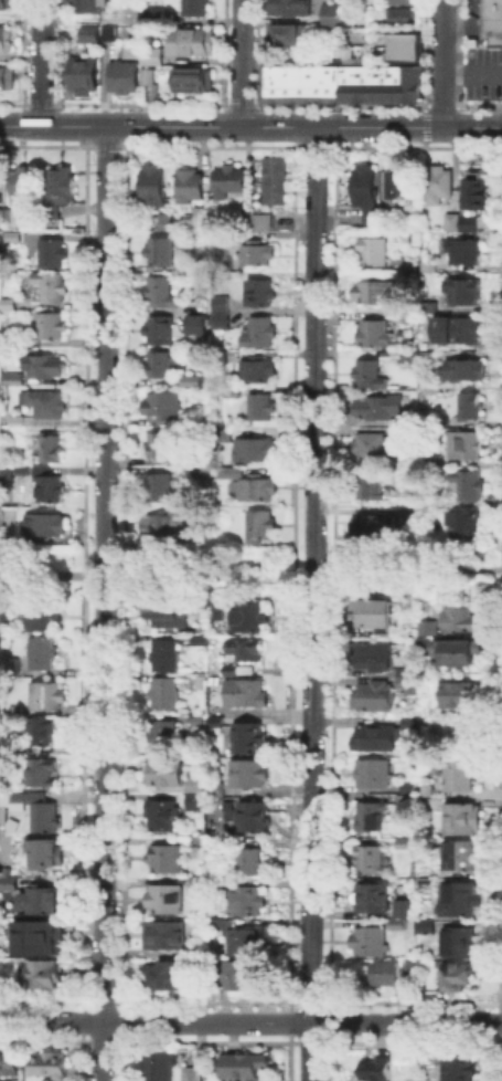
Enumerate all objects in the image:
building: (398, 1)
building: (7, 3)
building: (86, 6)
building: (193, 7)
building: (286, 7)
building: (491, 8)
building: (151, 12)
building: (126, 13)
building: (329, 14)
building: (398, 17)
building: (491, 29)
building: (87, 32)
building: (105, 33)
building: (282, 33)
building: (4, 38)
building: (189, 40)
building: (403, 46)
building: (149, 53)
road: (39, 62)
road: (239, 62)
road: (441, 63)
parking lot: (483, 72)
building: (81, 73)
road: (471, 73)
building: (119, 74)
building: (145, 75)
building: (6, 77)
building: (191, 80)
building: (307, 82)
building: (409, 82)
building: (271, 83)
building: (293, 83)
building: (320, 83)
building: (332, 83)
building: (344, 83)
building: (359, 83)
building: (383, 83)
road: (250, 126)
building: (25, 182)
building: (228, 182)
building: (275, 183)
building: (154, 187)
building: (402, 187)
building: (438, 187)
building: (191, 188)
building: (60, 191)
building: (474, 191)
building: (366, 193)
building: (4, 214)
building: (197, 217)
building: (448, 220)
building: (163, 221)
building: (246, 222)
building: (260, 222)
building: (461, 225)
building: (12, 238)
building: (160, 253)
building: (375, 253)
building: (466, 254)
building: (54, 255)
building: (256, 255)
building: (409, 266)
building: (429, 267)
building: (191, 269)
building: (52, 288)
building: (374, 293)
building: (161, 294)
building: (464, 294)
building: (260, 296)
building: (7, 306)
building: (431, 306)
building: (222, 313)
building: (196, 326)
building: (51, 328)
building: (463, 328)
building: (159, 332)
building: (376, 334)
building: (259, 335)
building: (218, 354)
building: (427, 357)
building: (162, 367)
building: (46, 368)
building: (258, 372)
building: (462, 374)
building: (371, 376)
building: (11, 379)
building: (192, 381)
building: (234, 391)
building: (46, 405)
building: (163, 406)
building: (263, 409)
building: (378, 409)
building: (472, 409)
building: (0, 419)
building: (17, 420)
building: (223, 432)
building: (159, 447)
building: (373, 448)
building: (466, 448)
building: (51, 450)
building: (256, 451)
building: (200, 454)
building: (439, 455)
building: (21, 469)
building: (195, 473)
building: (6, 479)
building: (47, 484)
building: (371, 485)
building: (249, 486)
building: (467, 486)
building: (159, 489)
building: (406, 514)
building: (464, 525)
building: (46, 526)
building: (164, 527)
building: (260, 528)
building: (373, 528)
building: (203, 533)
park: (39, 569)
road: (117, 570)
park: (206, 570)
road: (273, 570)
road: (406, 570)
park: (416, 570)
road: (102, 602)
road: (310, 602)
building: (6, 612)
building: (170, 613)
building: (374, 617)
building: (250, 618)
building: (43, 619)
building: (459, 619)
building: (214, 621)
building: (424, 627)
building: (434, 628)
building: (197, 638)
building: (245, 651)
building: (457, 653)
building: (42, 655)
building: (167, 657)
building: (373, 658)
building: (9, 667)
building: (231, 671)
building: (409, 679)
building: (202, 682)
building: (246, 694)
building: (167, 695)
building: (459, 695)
building: (45, 696)
building: (373, 697)
building: (17, 709)
building: (217, 722)
building: (42, 732)
building: (164, 736)
building: (248, 739)
building: (377, 739)
building: (461, 773)
building: (42, 774)
building: (167, 774)
building: (249, 774)
building: (374, 774)
building: (200, 794)
building: (406, 799)
building: (39, 811)
building: (164, 817)
building: (256, 818)
building: (372, 818)
building: (464, 819)
building: (195, 846)
building: (406, 846)
building: (45, 853)
building: (463, 858)
building: (169, 860)
building: (372, 860)
building: (253, 864)
building: (7, 881)
building: (20, 884)
building: (199, 884)
building: (168, 899)
building: (375, 900)
building: (460, 900)
building: (46, 901)
building: (249, 902)
building: (406, 913)
building: (399, 923)
building: (425, 927)
building: (167, 936)
building: (35, 940)
building: (249, 942)
building: (371, 943)
building: (462, 944)
building: (246, 975)
building: (389, 975)
building: (44, 976)
building: (460, 976)
building: (163, 978)
road: (250, 1021)
building: (8, 1066)
building: (376, 1066)
building: (52, 1067)
building: (246, 1067)
building: (456, 1067)
building: (160, 1068)
building: (194, 1077)

